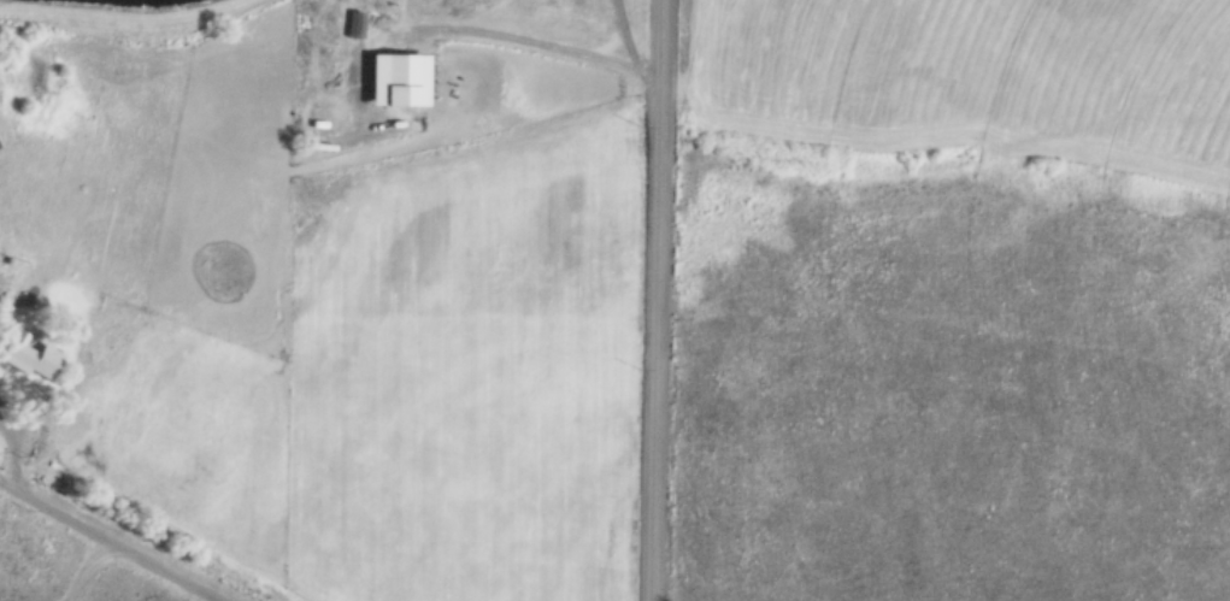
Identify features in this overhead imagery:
road: (135, 28)
road: (401, 29)
road: (625, 36)
building: (393, 81)
building: (11, 263)
road: (653, 300)
building: (23, 352)
road: (13, 459)
road: (106, 543)
road: (88, 567)

